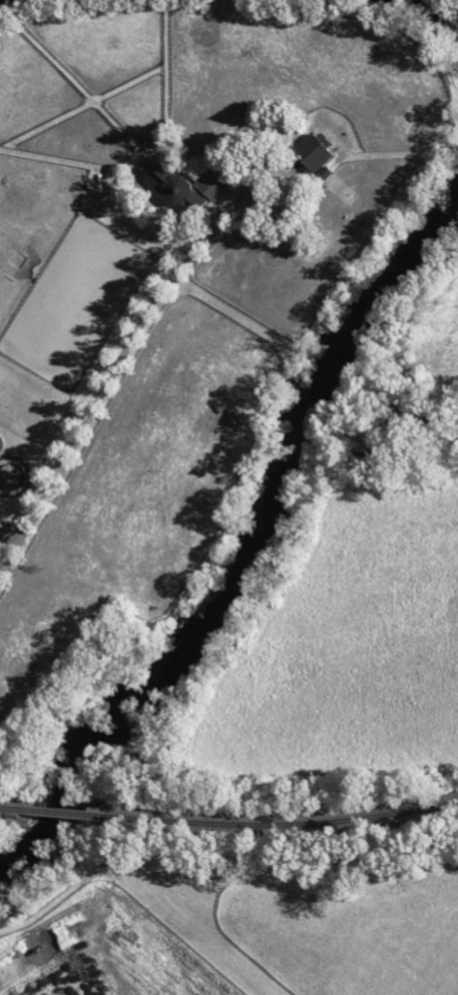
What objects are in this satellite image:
river: (6, 2)
river: (426, 15)
building: (314, 151)
building: (186, 187)
road: (105, 385)
river: (249, 567)
railway: (17, 808)
railway: (63, 812)
railway: (275, 824)

